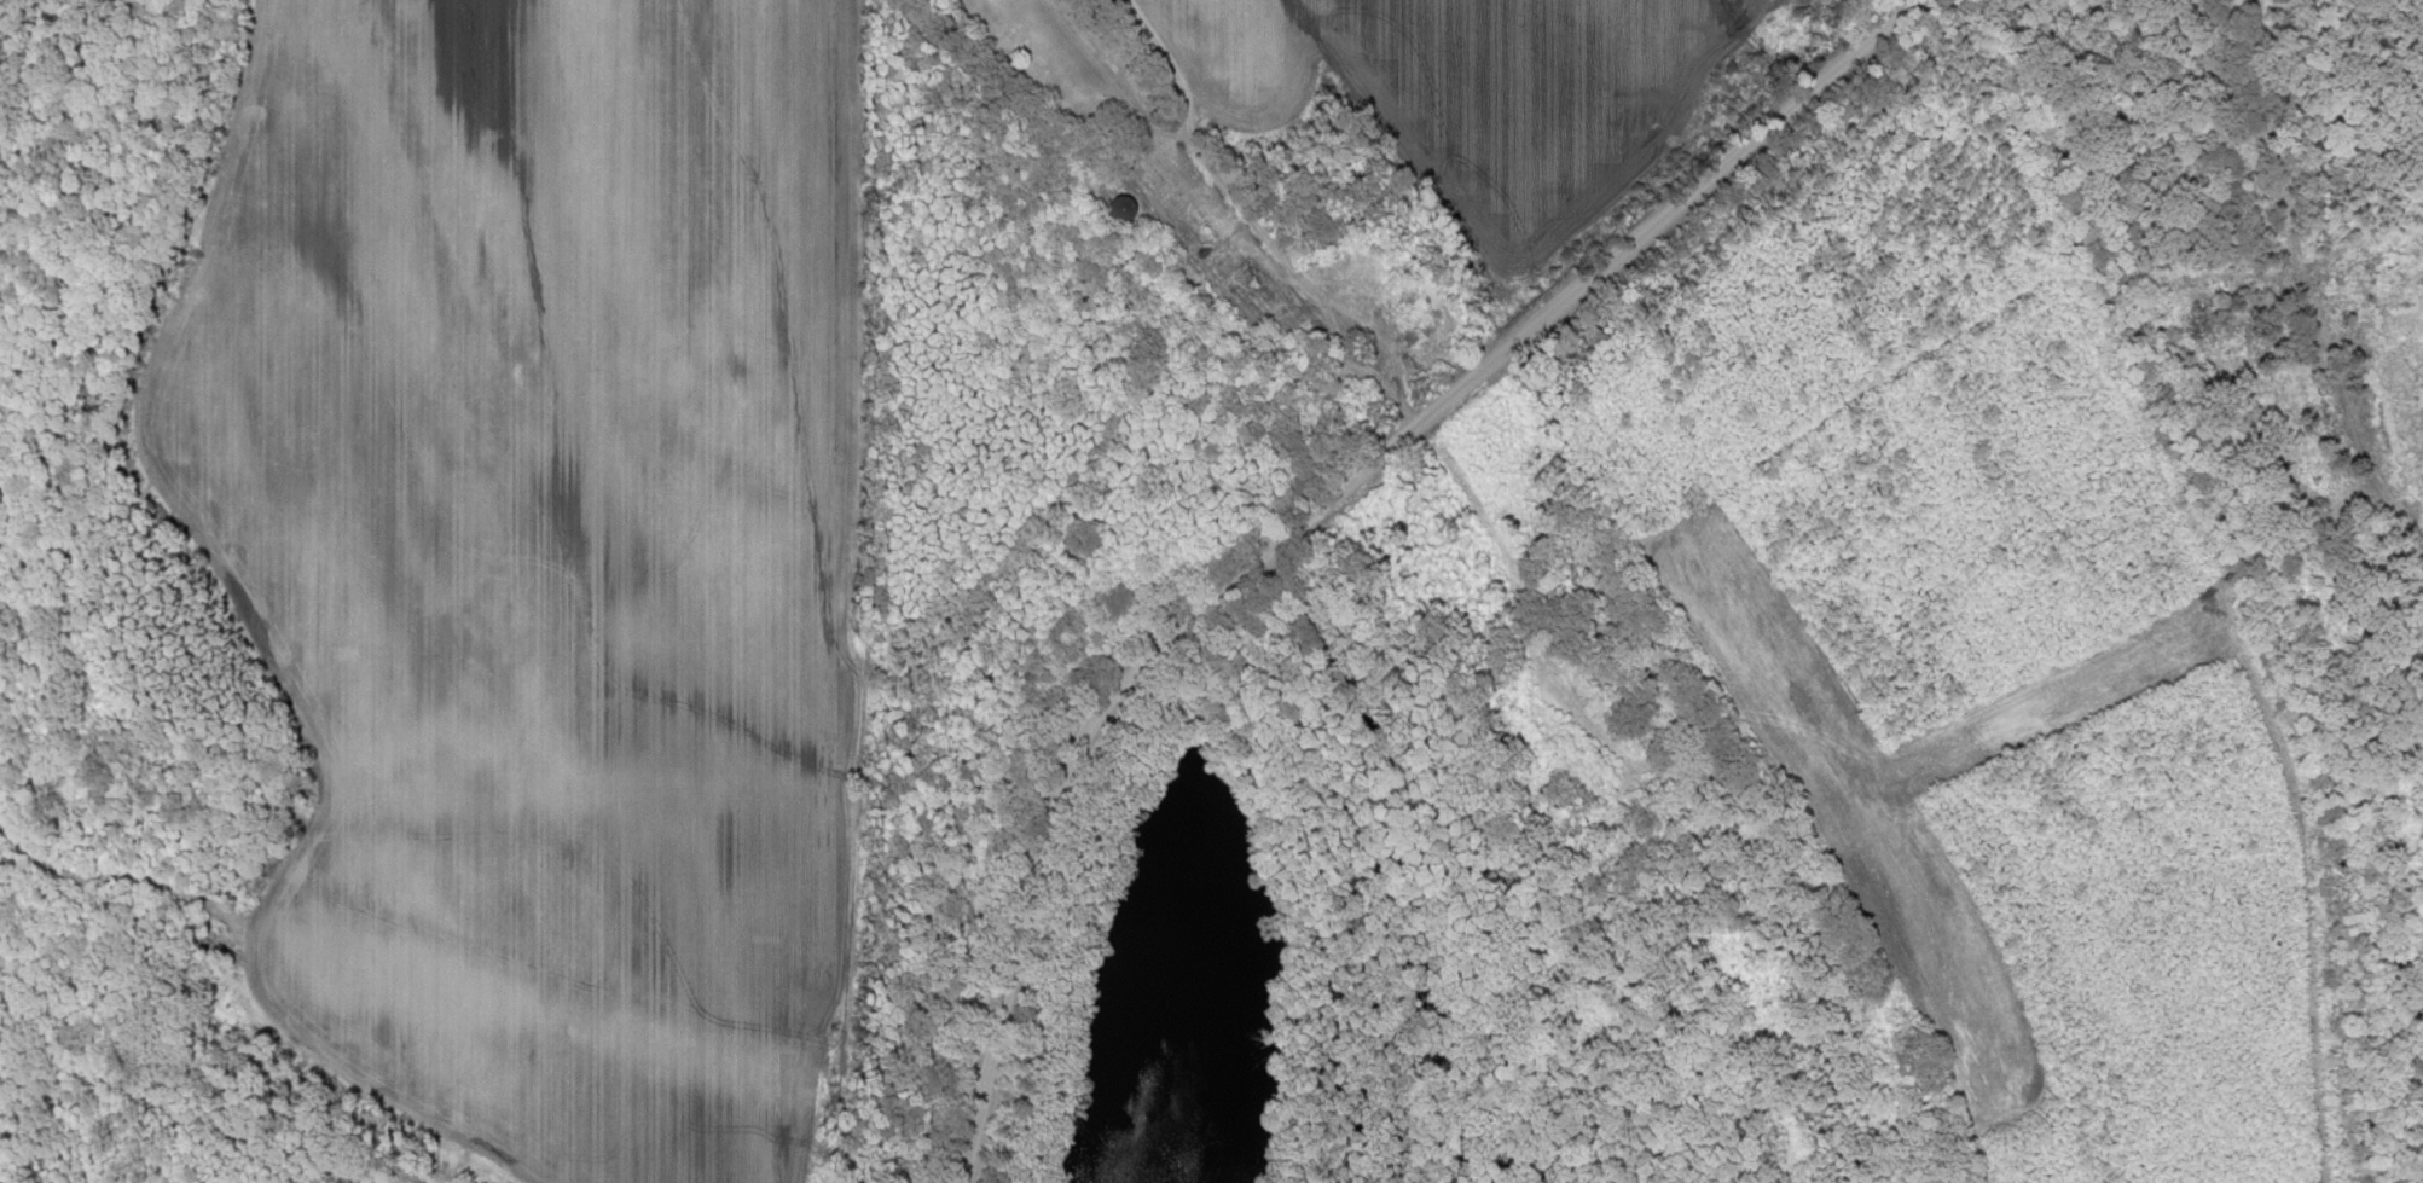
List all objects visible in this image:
road: (1233, 201)
building: (1120, 209)
road: (2302, 288)
road: (1308, 510)

